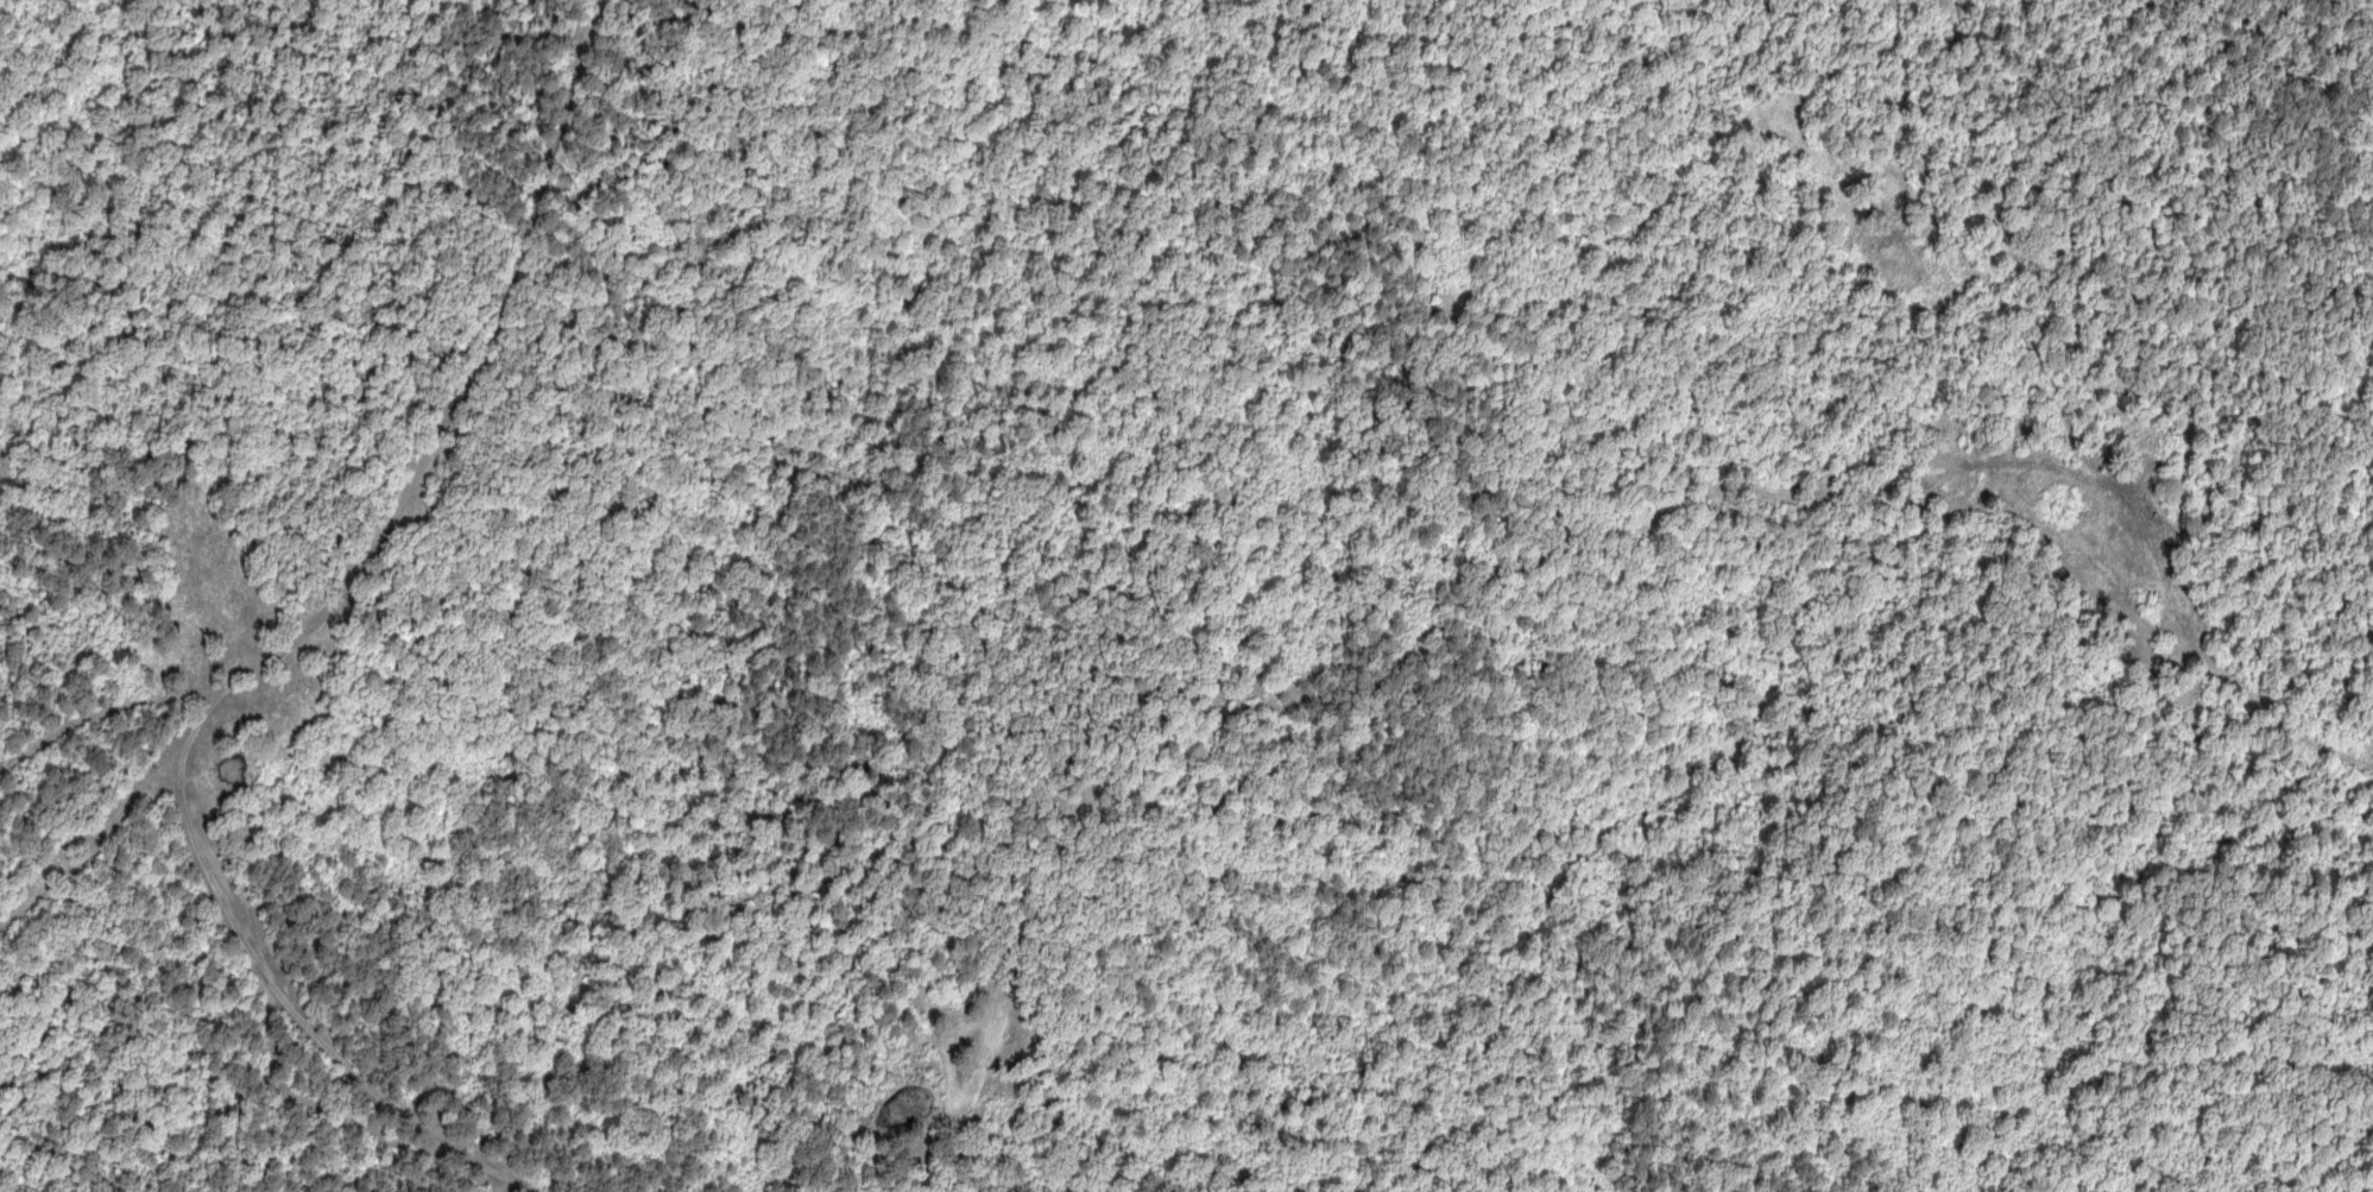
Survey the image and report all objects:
road: (487, 346)

